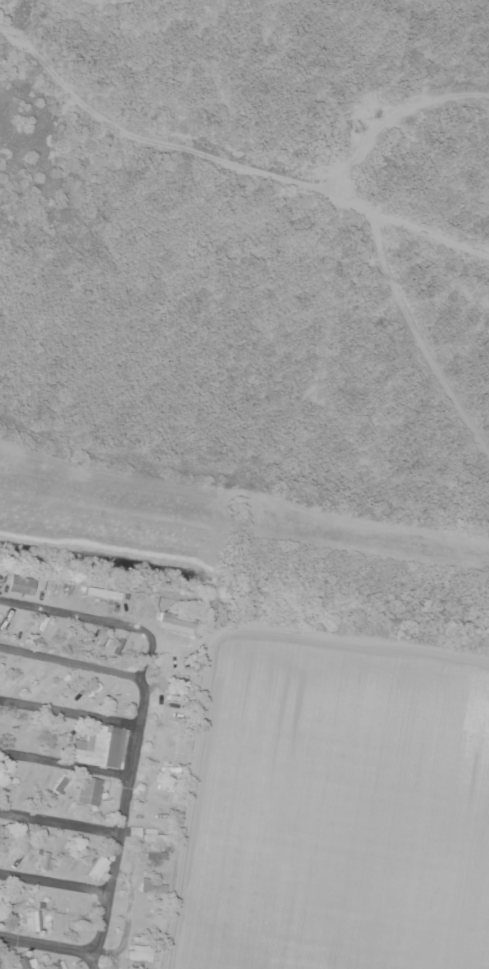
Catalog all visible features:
road: (76, 615)
building: (173, 621)
road: (71, 662)
building: (3, 665)
road: (68, 710)
building: (13, 719)
building: (99, 747)
road: (63, 760)
building: (7, 768)
building: (26, 774)
building: (63, 784)
building: (89, 791)
road: (122, 799)
road: (58, 819)
building: (38, 839)
building: (61, 842)
building: (45, 862)
road: (54, 878)
building: (151, 885)
building: (24, 897)
building: (1, 907)
road: (48, 946)
building: (138, 952)
building: (27, 962)
building: (106, 962)
building: (58, 965)
building: (133, 966)

